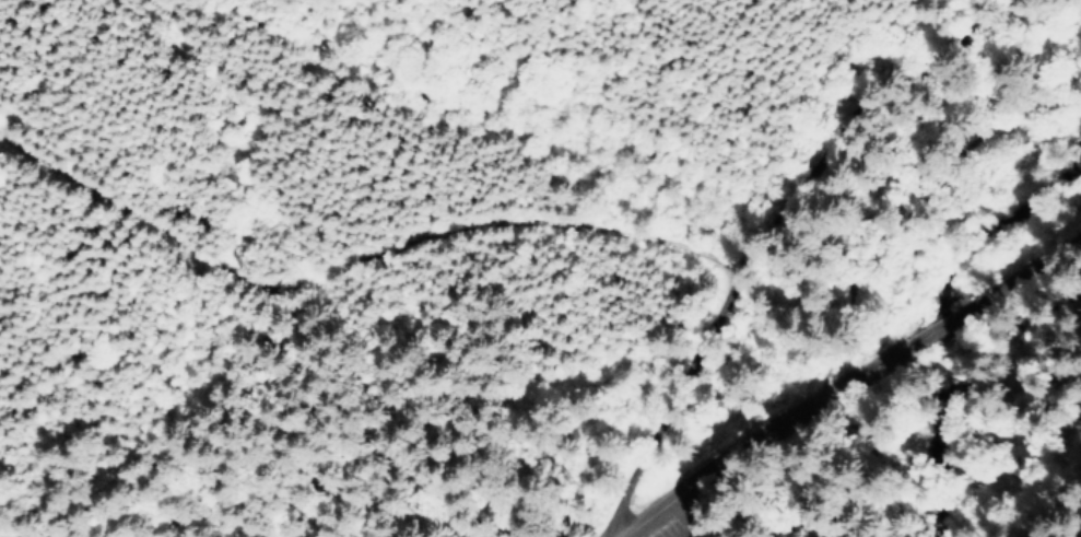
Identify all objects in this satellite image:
road: (785, 215)
road: (873, 248)
road: (1030, 269)
road: (1035, 310)
road: (949, 319)
road: (769, 429)
parking lot: (686, 521)
road: (698, 528)

